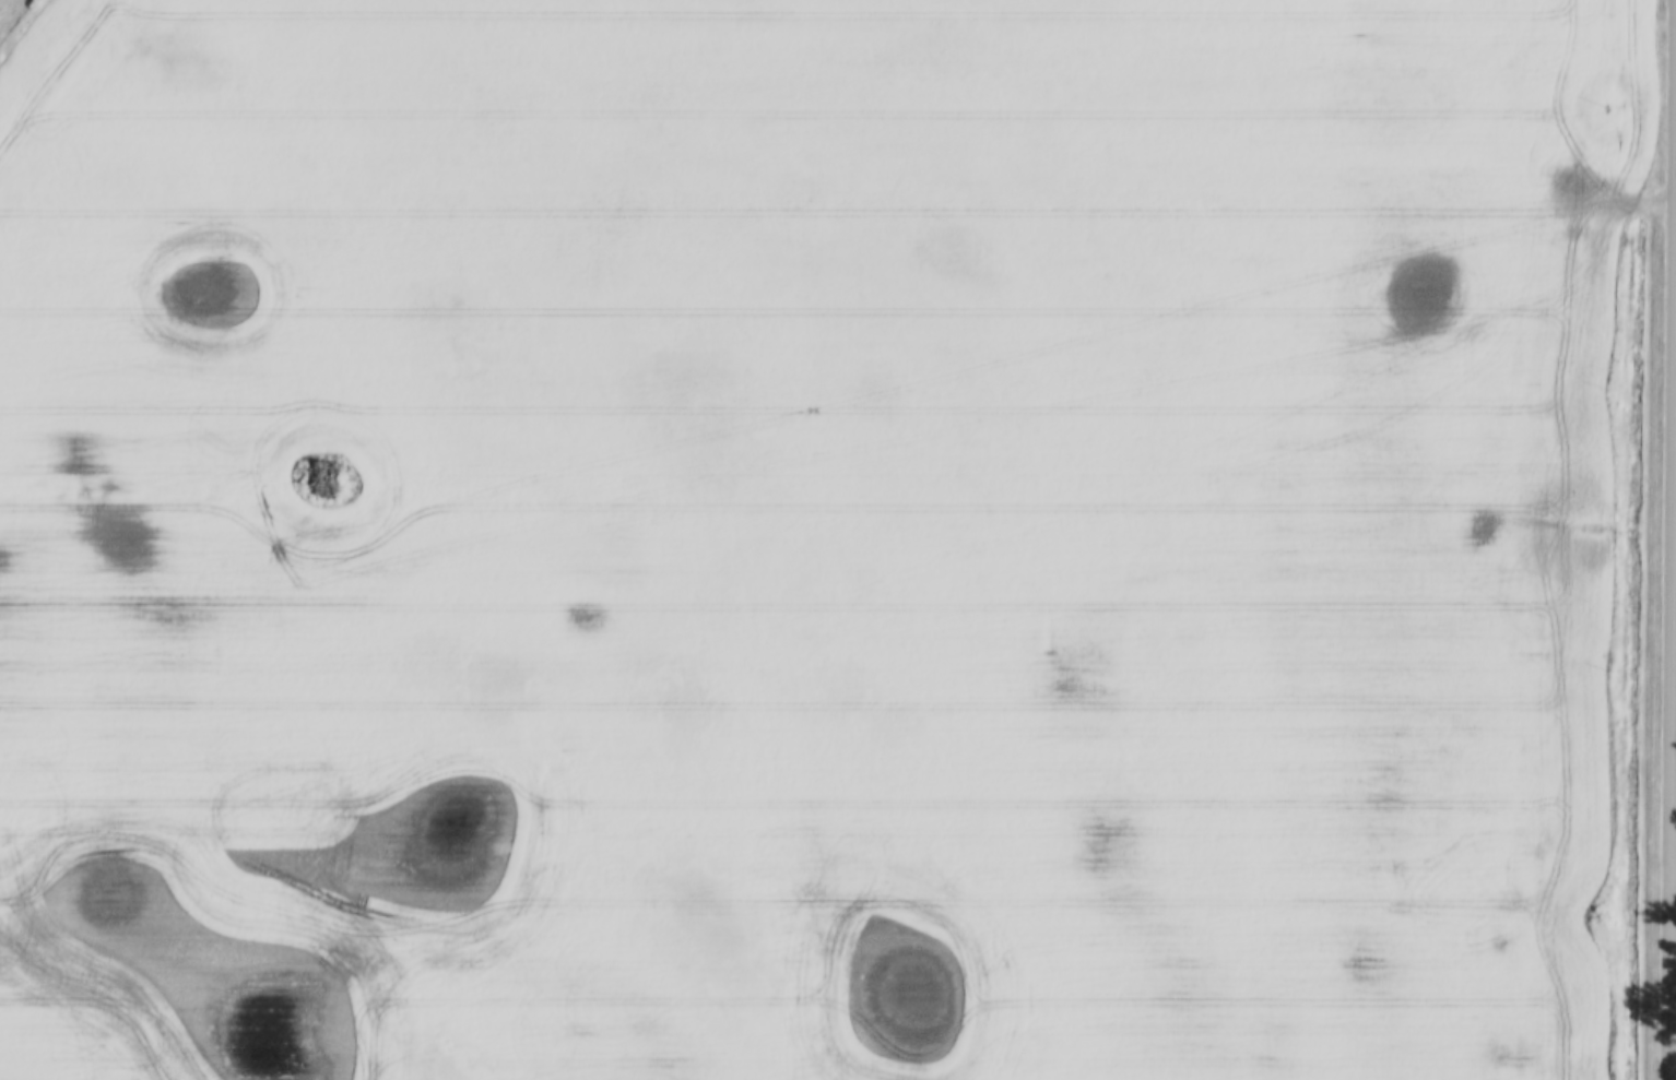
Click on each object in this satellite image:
road: (1559, 29)
road: (1672, 539)
road: (1674, 880)

